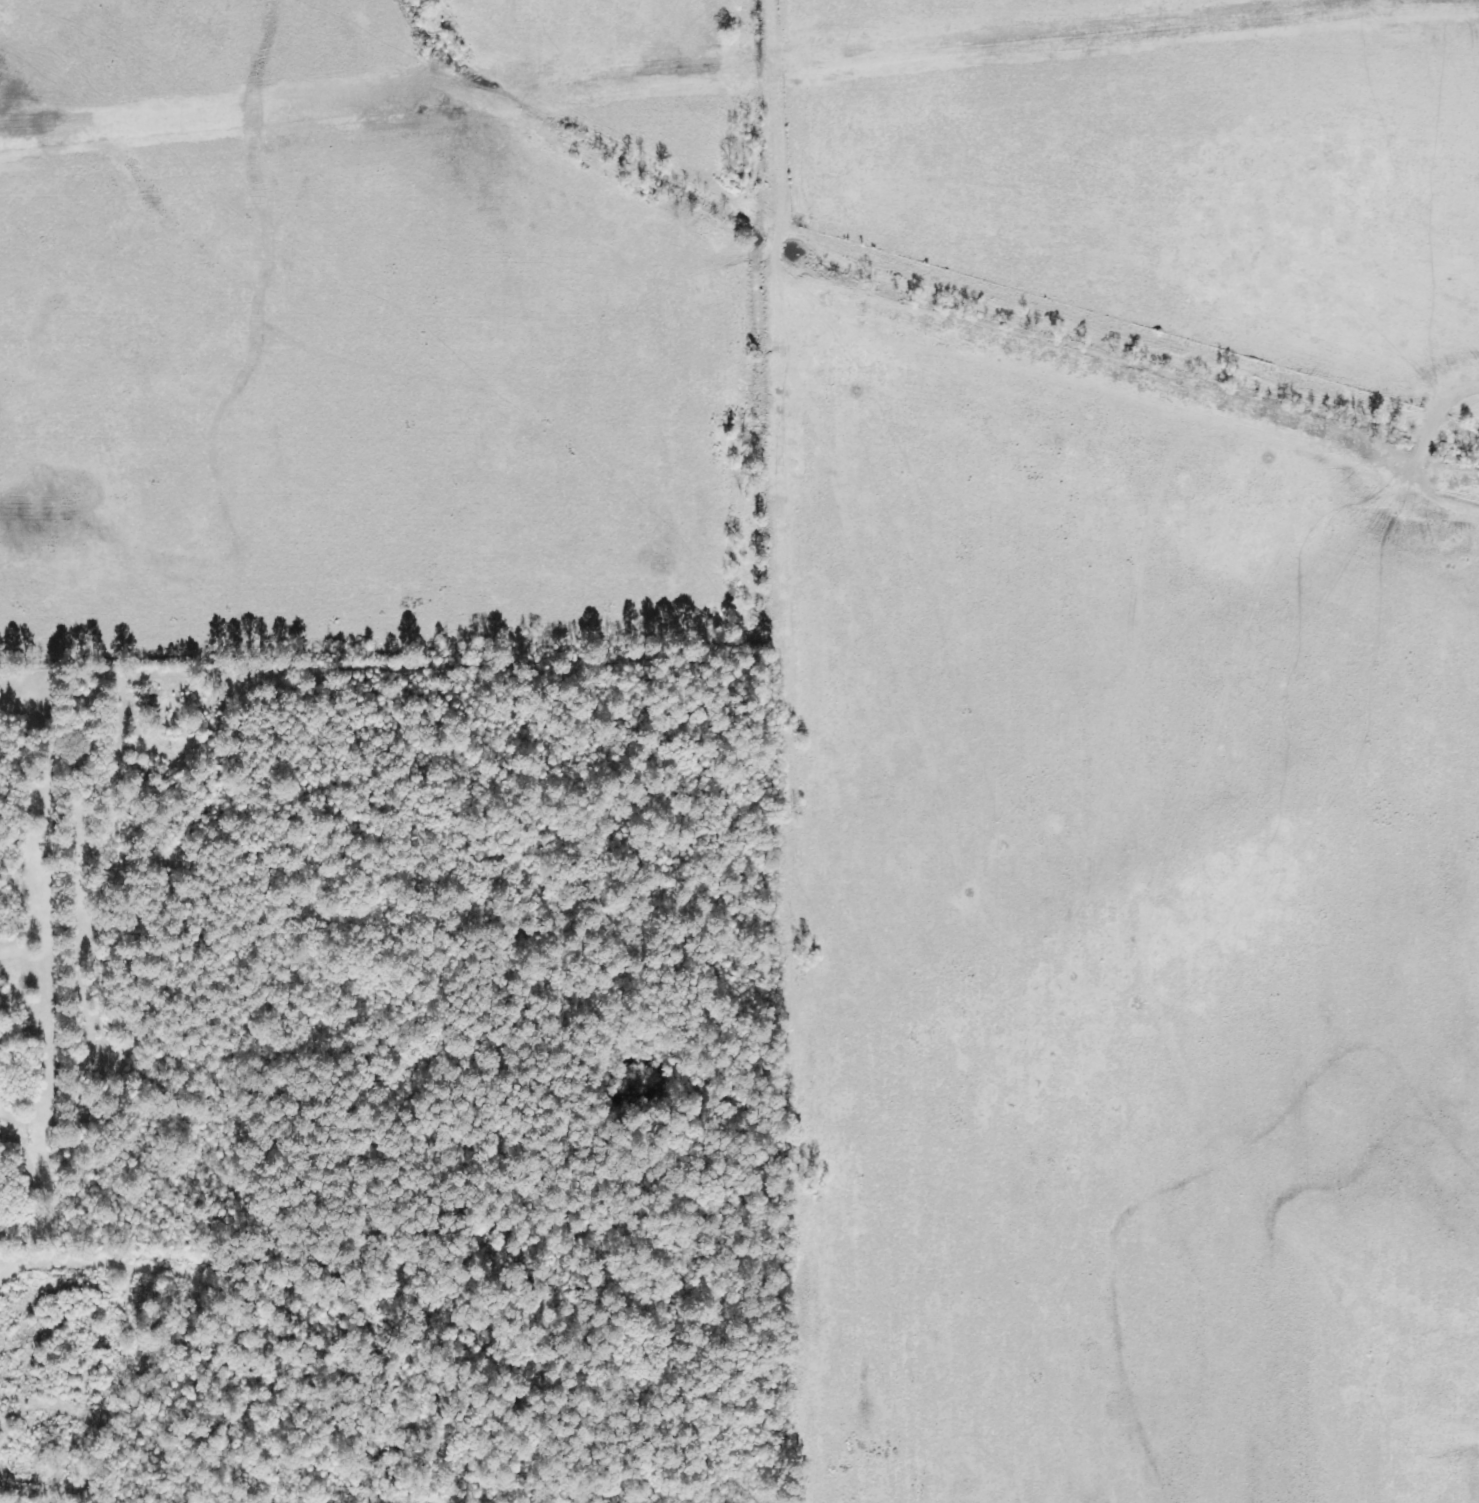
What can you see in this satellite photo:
road: (91, 1288)

